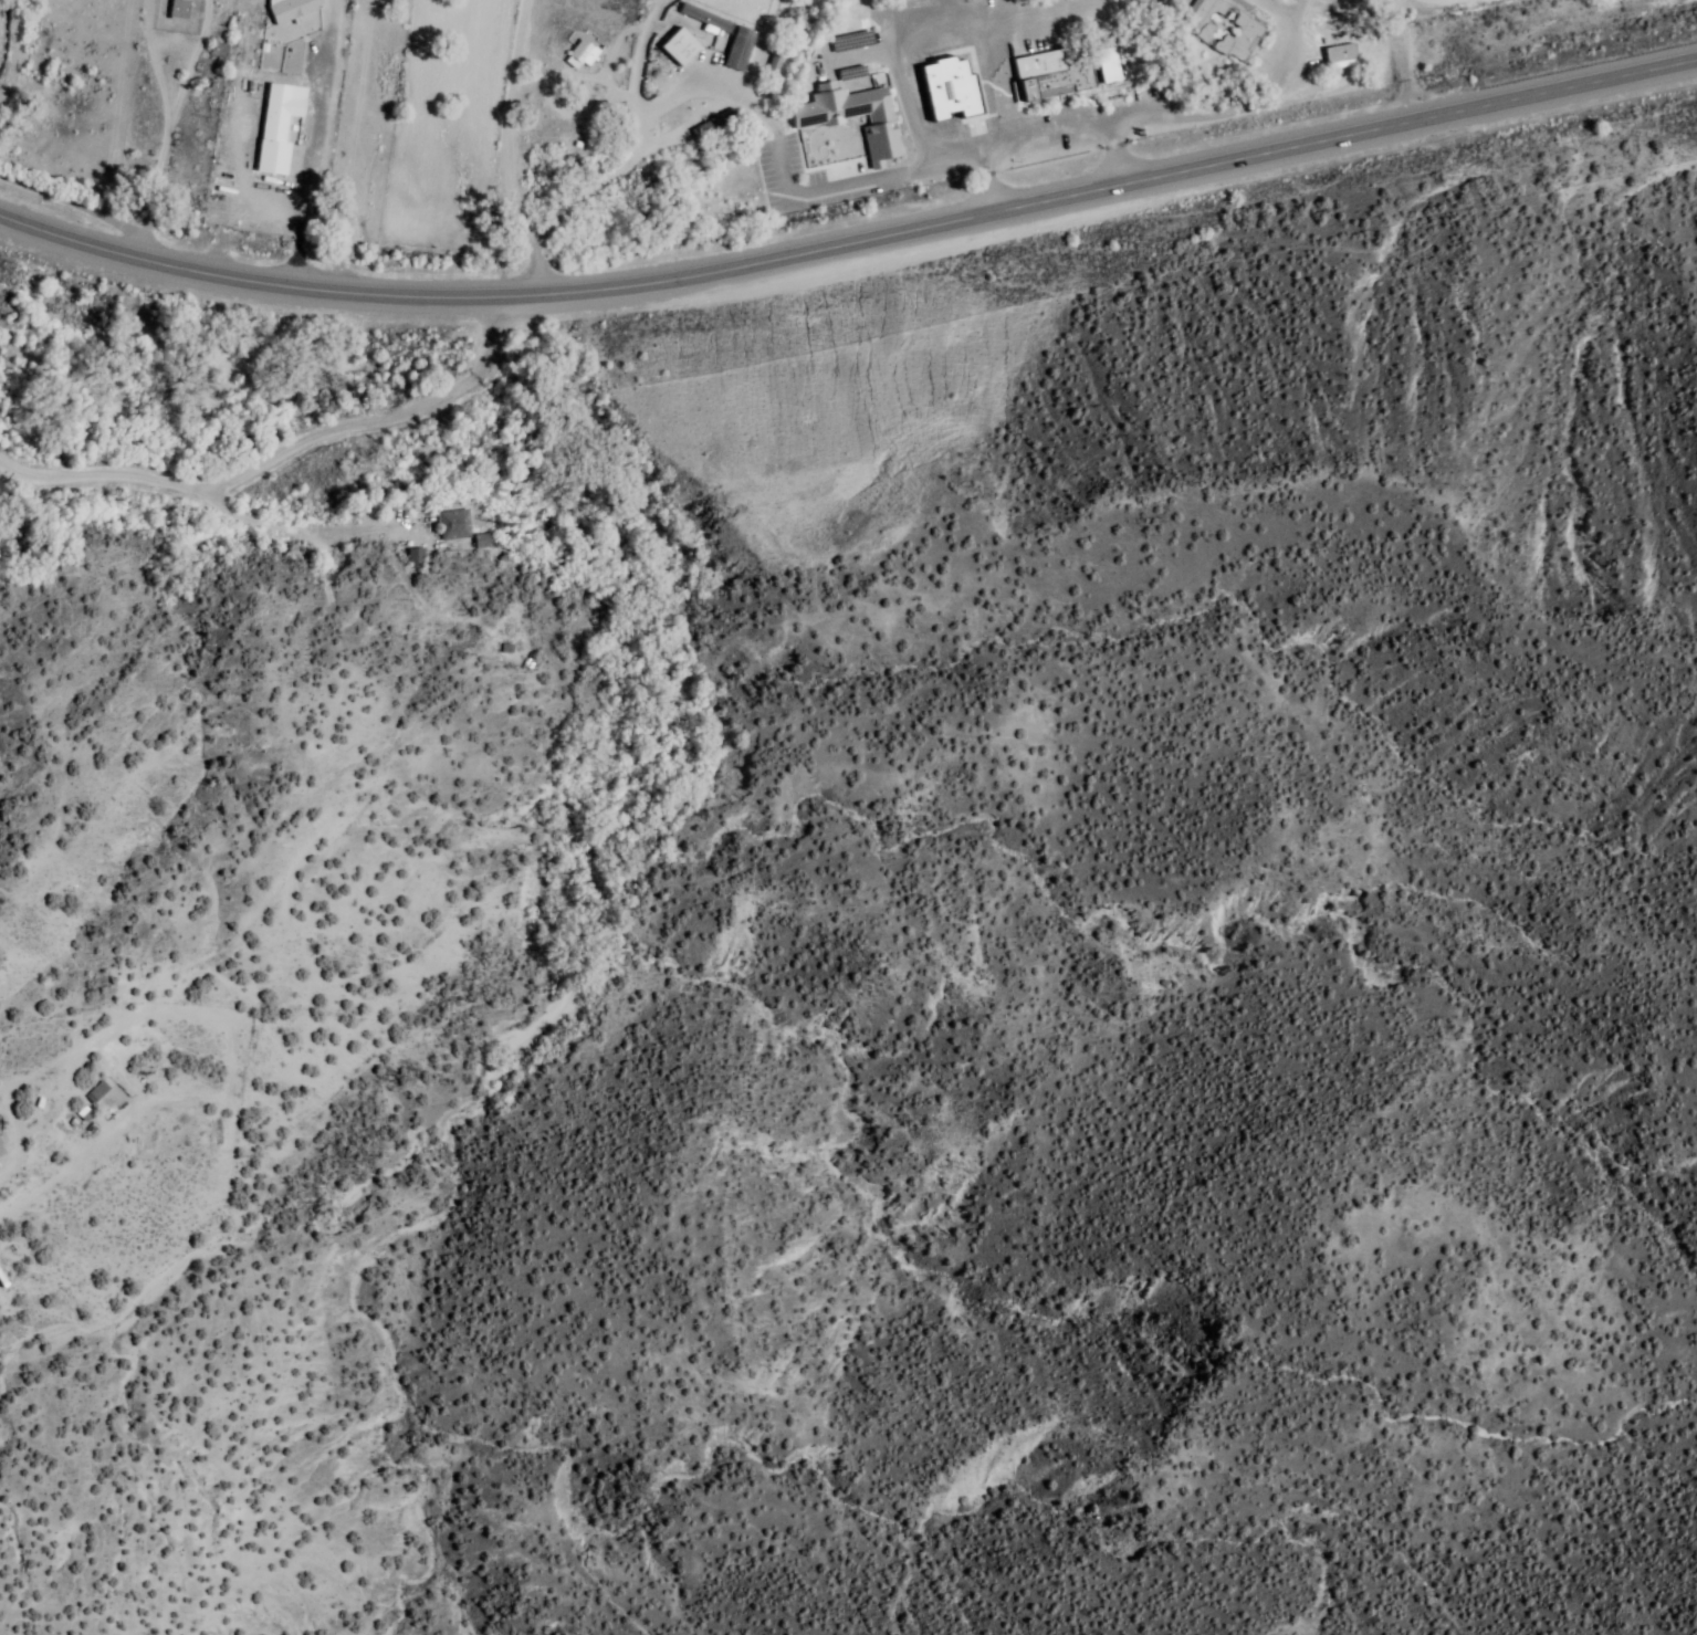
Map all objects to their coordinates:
building: (292, 9)
building: (180, 10)
building: (1230, 38)
building: (926, 50)
building: (685, 51)
building: (981, 67)
road: (639, 69)
building: (1076, 81)
building: (954, 98)
building: (851, 113)
road: (171, 114)
building: (566, 125)
building: (281, 126)
building: (981, 128)
road: (505, 153)
road: (161, 190)
road: (851, 244)
road: (287, 453)
building: (455, 526)
building: (418, 560)
building: (98, 1093)
building: (1, 1157)

